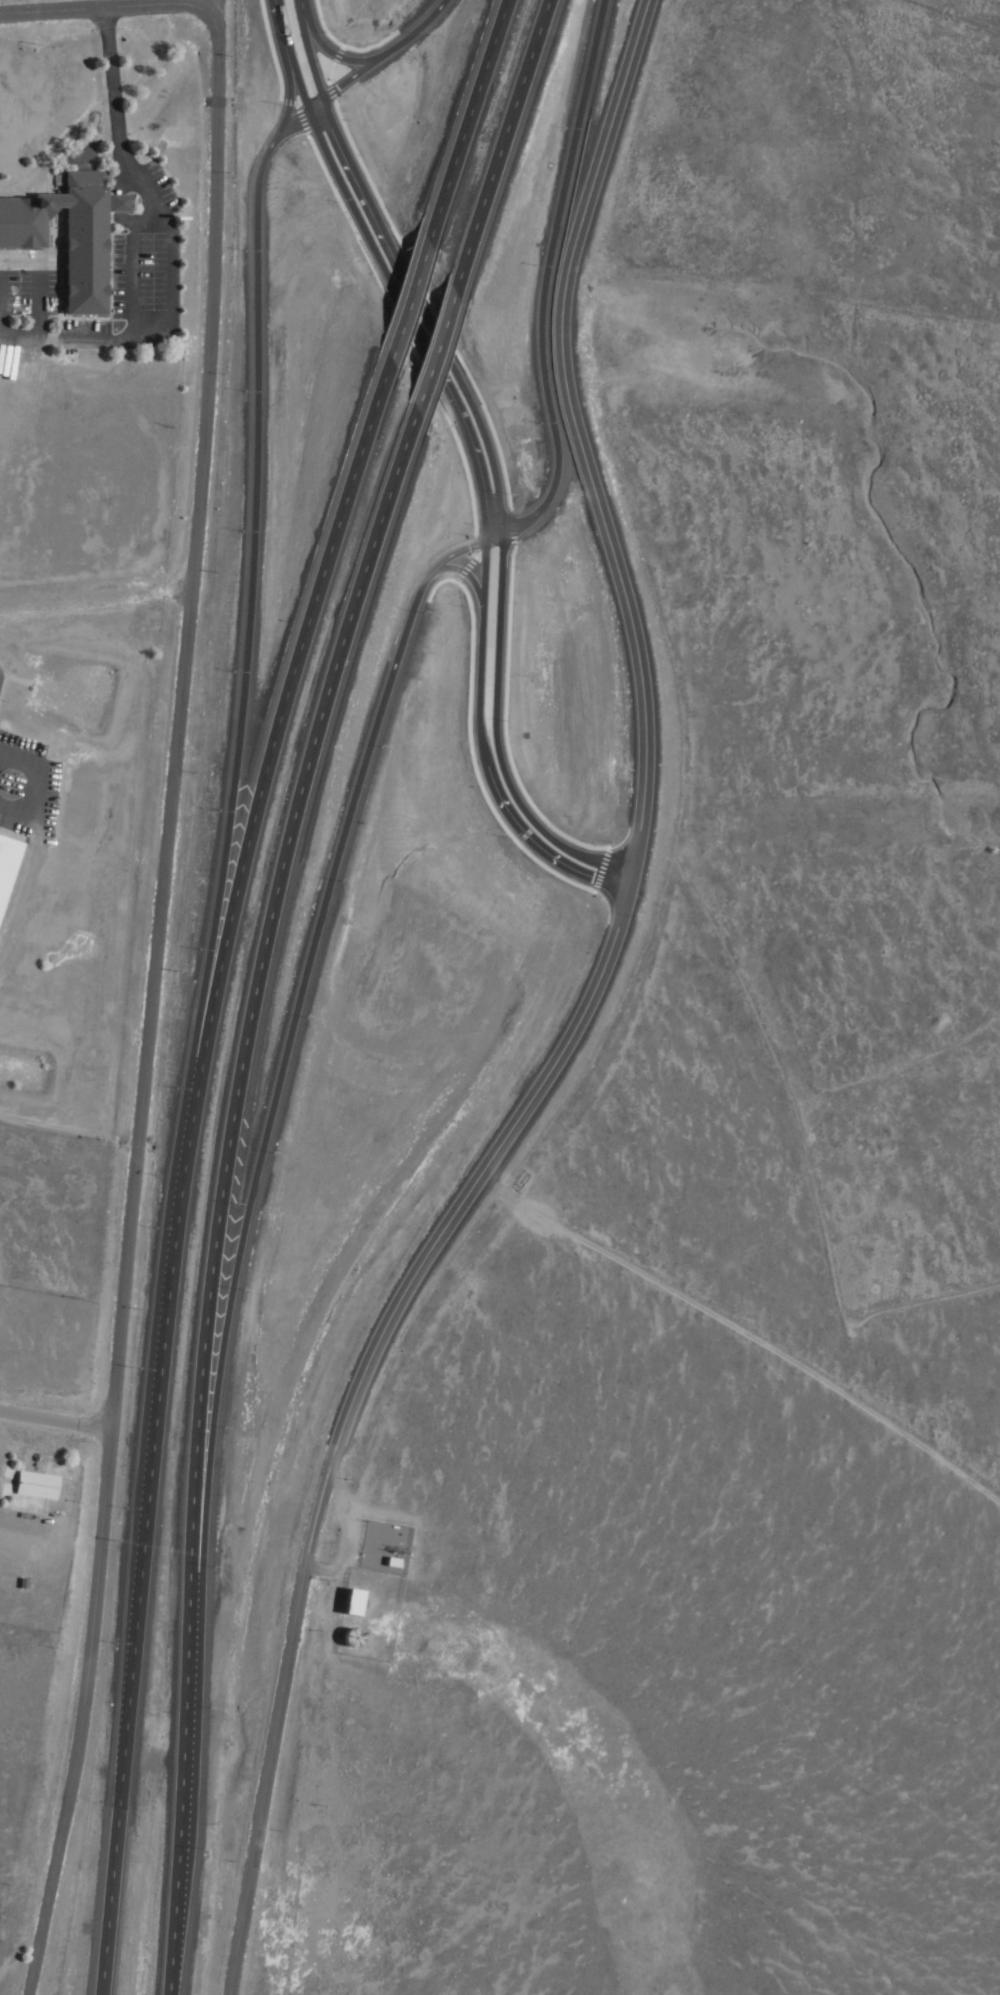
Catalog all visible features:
road: (103, 6)
road: (305, 47)
road: (290, 52)
road: (364, 56)
road: (327, 88)
road: (464, 120)
road: (331, 125)
road: (496, 146)
road: (359, 215)
building: (64, 230)
road: (384, 232)
road: (542, 273)
road: (405, 299)
road: (429, 350)
road: (477, 414)
road: (467, 425)
road: (247, 515)
road: (465, 568)
road: (479, 633)
road: (282, 693)
road: (175, 720)
road: (497, 732)
road: (523, 832)
building: (3, 850)
road: (248, 1004)
road: (573, 1018)
road: (283, 1043)
road: (54, 1419)
building: (28, 1481)
road: (143, 1515)
building: (386, 1558)
building: (347, 1601)
building: (359, 1602)
building: (348, 1634)
storage tank: (348, 1634)
road: (80, 1713)
road: (180, 1806)

